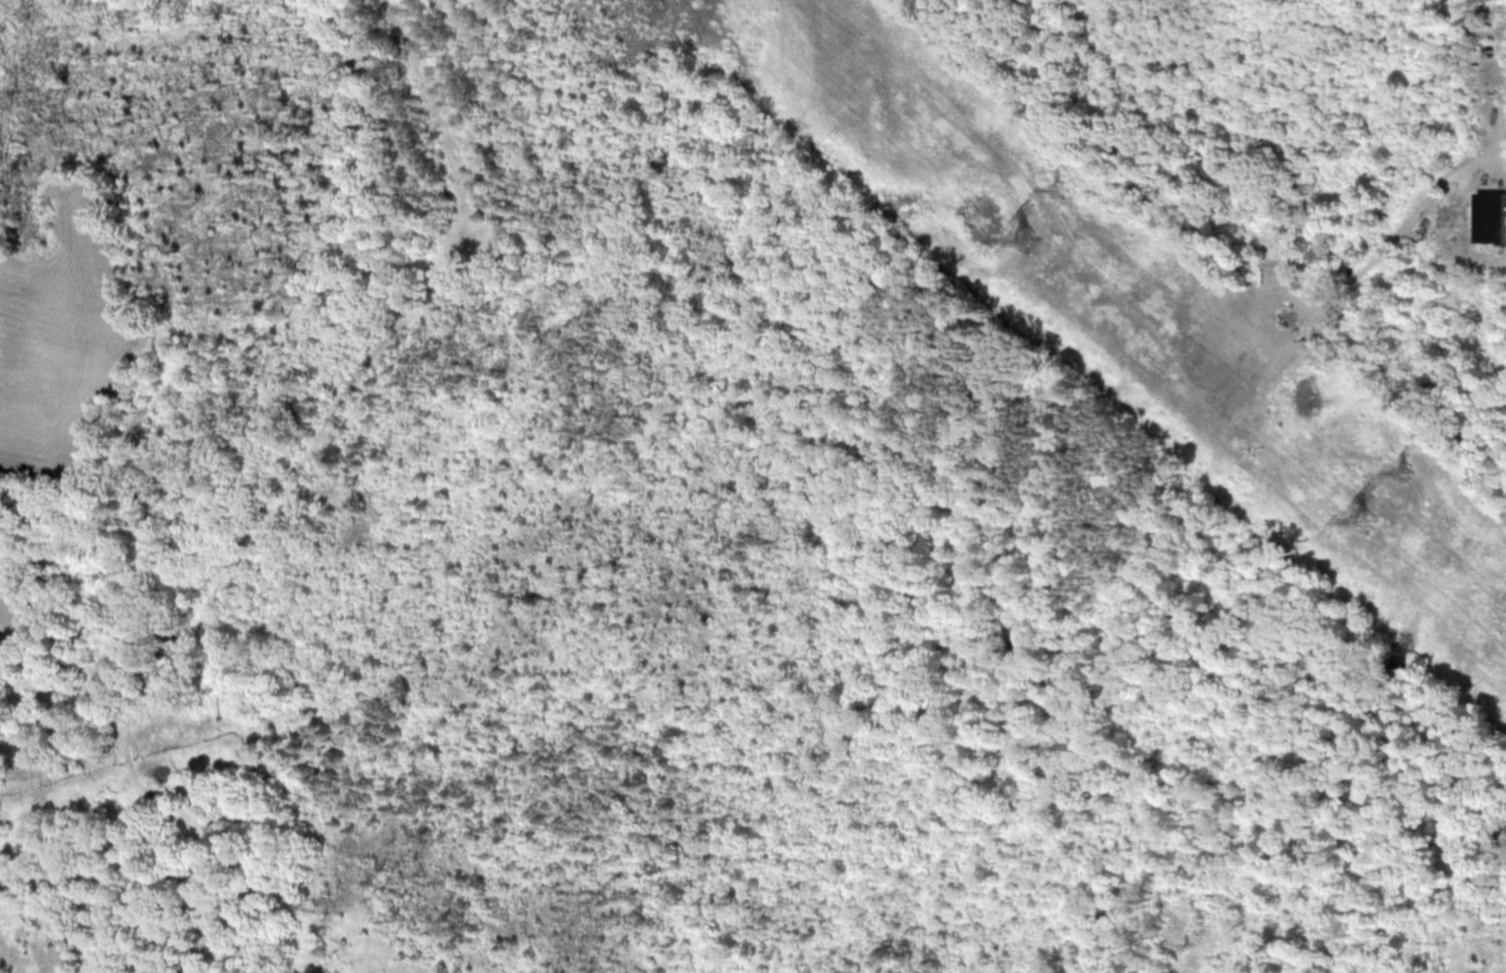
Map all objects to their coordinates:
power tower: (1062, 187)
building: (1492, 216)
road: (1413, 224)
power tower: (1025, 235)
power tower: (1408, 469)
power tower: (1364, 518)

